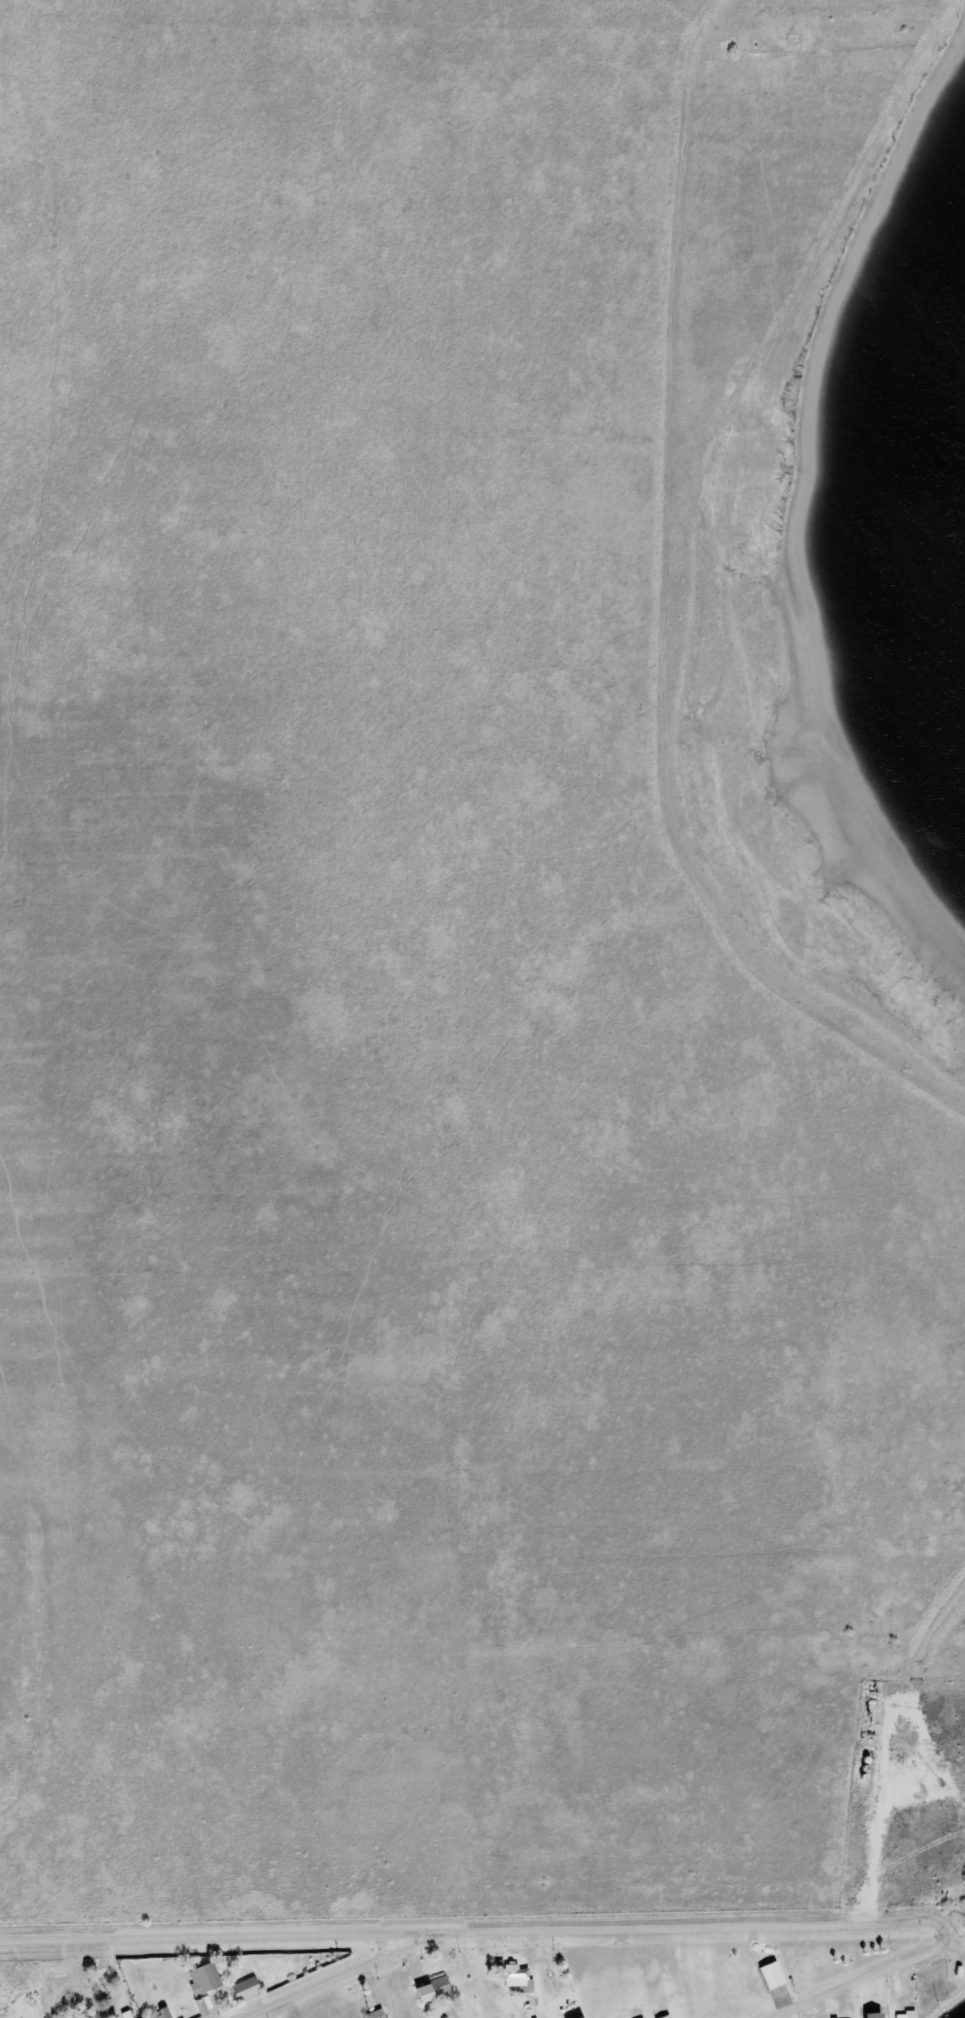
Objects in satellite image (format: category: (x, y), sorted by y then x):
road: (477, 1933)
building: (774, 1975)
building: (519, 1978)
road: (332, 1981)
road: (864, 1981)
building: (247, 1988)
building: (435, 1989)
building: (877, 2015)
building: (585, 2017)

